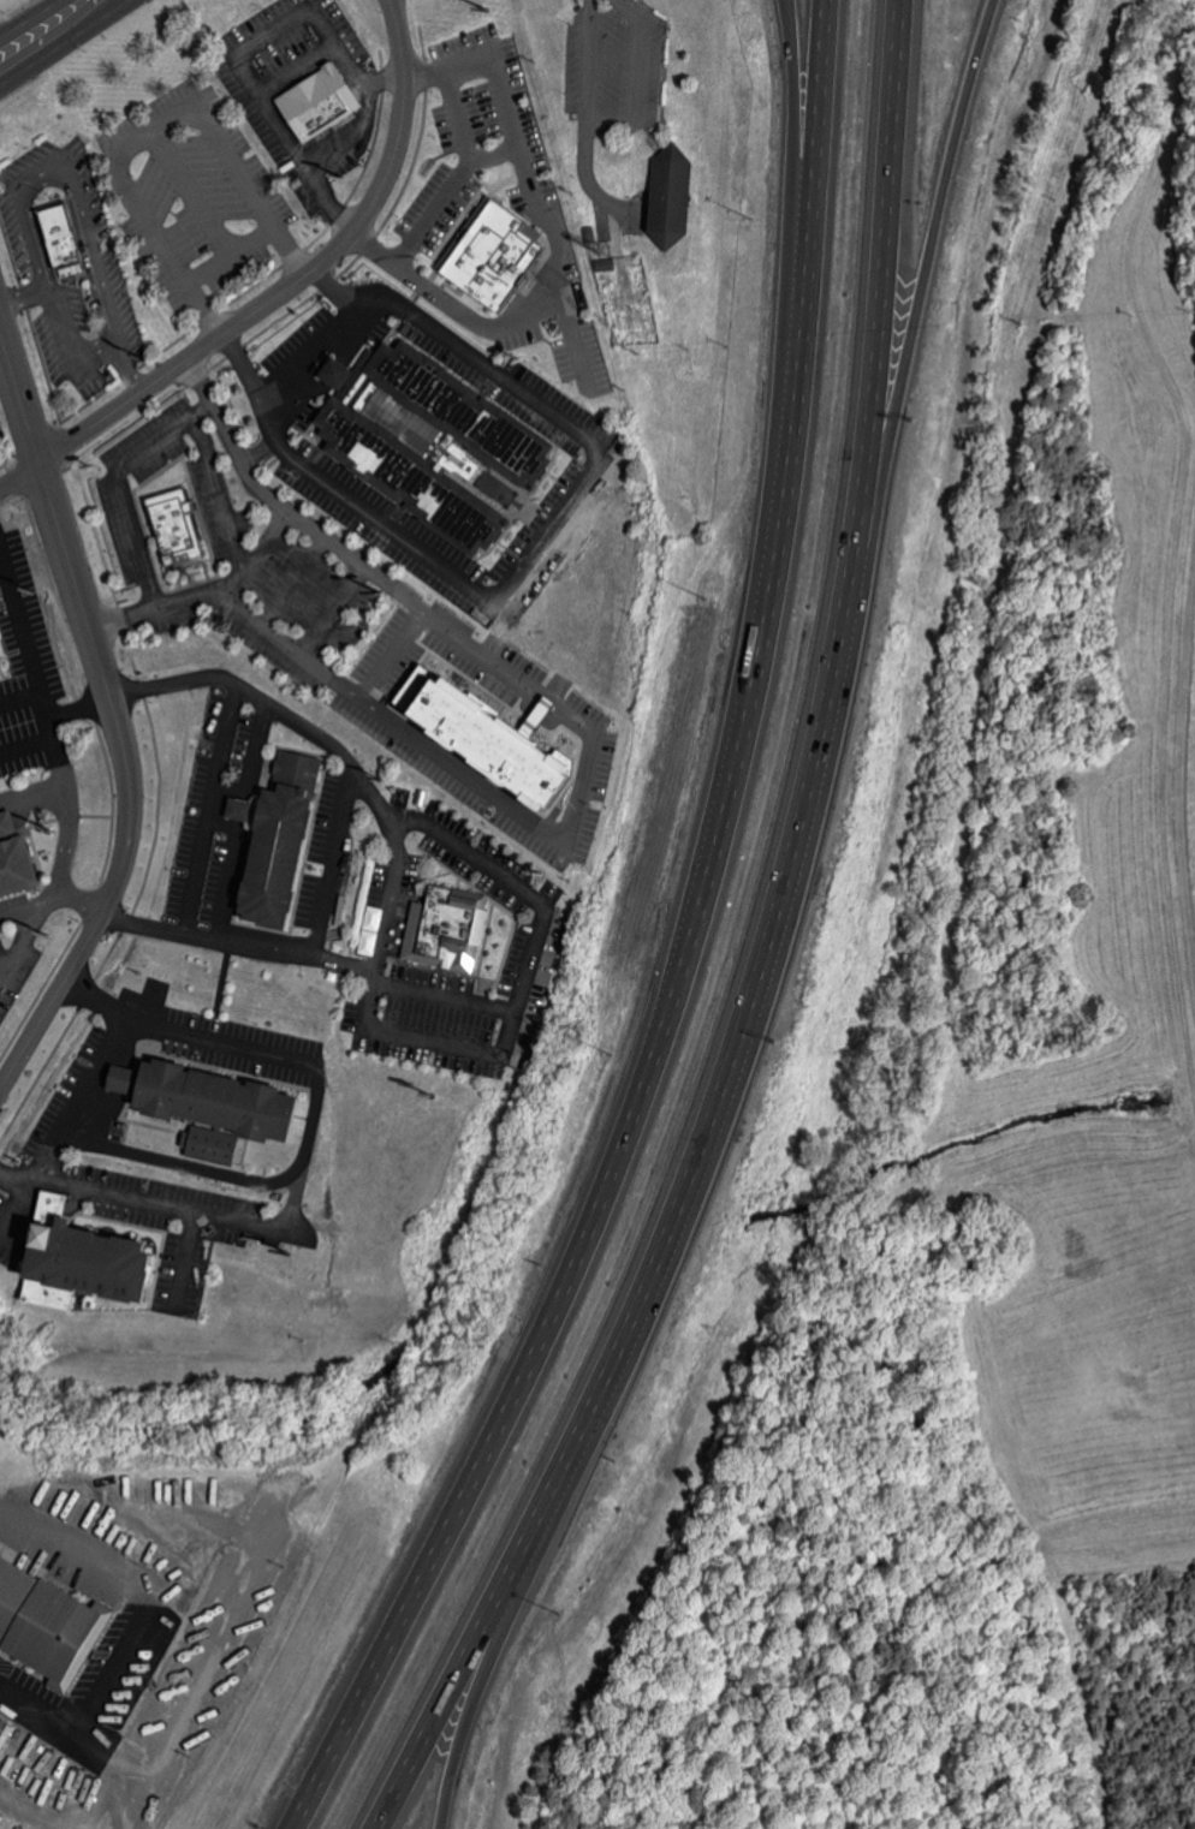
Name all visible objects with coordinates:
road: (629, 7)
road: (25, 16)
road: (66, 43)
road: (588, 59)
road: (638, 68)
road: (283, 79)
building: (322, 101)
road: (611, 119)
road: (338, 147)
road: (492, 151)
road: (585, 167)
road: (458, 175)
building: (674, 196)
road: (90, 232)
building: (63, 240)
road: (553, 249)
road: (787, 249)
building: (494, 251)
road: (236, 257)
road: (23, 296)
road: (920, 297)
road: (878, 298)
road: (0, 299)
road: (285, 299)
road: (571, 335)
road: (310, 353)
road: (127, 370)
building: (341, 373)
building: (436, 441)
road: (263, 452)
road: (226, 491)
road: (301, 517)
building: (179, 526)
road: (535, 541)
road: (260, 556)
road: (392, 585)
road: (198, 603)
road: (129, 619)
road: (25, 645)
building: (0, 669)
road: (117, 707)
road: (81, 709)
building: (540, 710)
building: (484, 735)
road: (25, 744)
road: (252, 750)
road: (59, 765)
road: (585, 806)
road: (240, 809)
building: (248, 809)
road: (210, 810)
road: (63, 812)
building: (295, 842)
road: (332, 864)
road: (391, 864)
building: (19, 866)
road: (228, 881)
road: (28, 902)
road: (83, 902)
building: (452, 928)
road: (24, 931)
road: (530, 946)
road: (685, 951)
road: (6, 960)
road: (6, 970)
road: (96, 1002)
road: (130, 1020)
road: (735, 1045)
building: (219, 1100)
building: (216, 1145)
road: (230, 1175)
road: (144, 1204)
road: (19, 1210)
building: (88, 1259)
road: (186, 1259)
building: (43, 1624)
road: (132, 1624)
road: (218, 1624)
road: (495, 1651)
road: (465, 1652)
road: (97, 1742)

